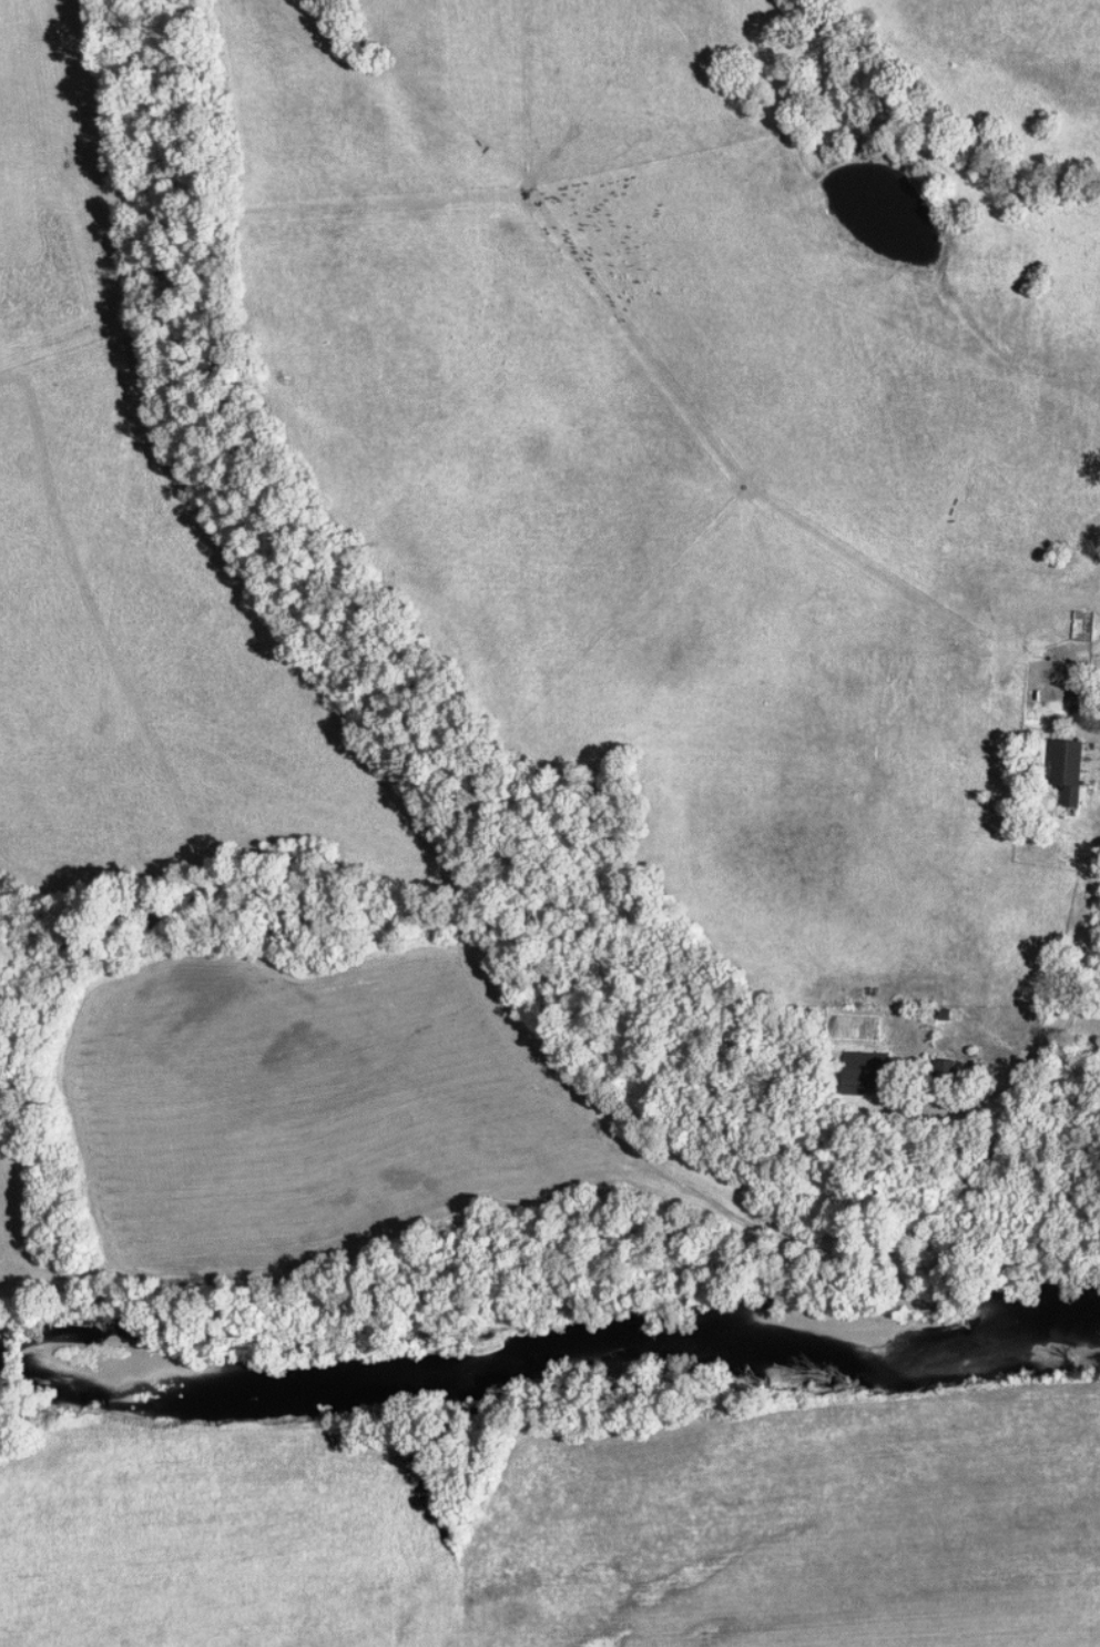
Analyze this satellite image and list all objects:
building: (1072, 769)
road: (1061, 1021)
river: (550, 1346)

